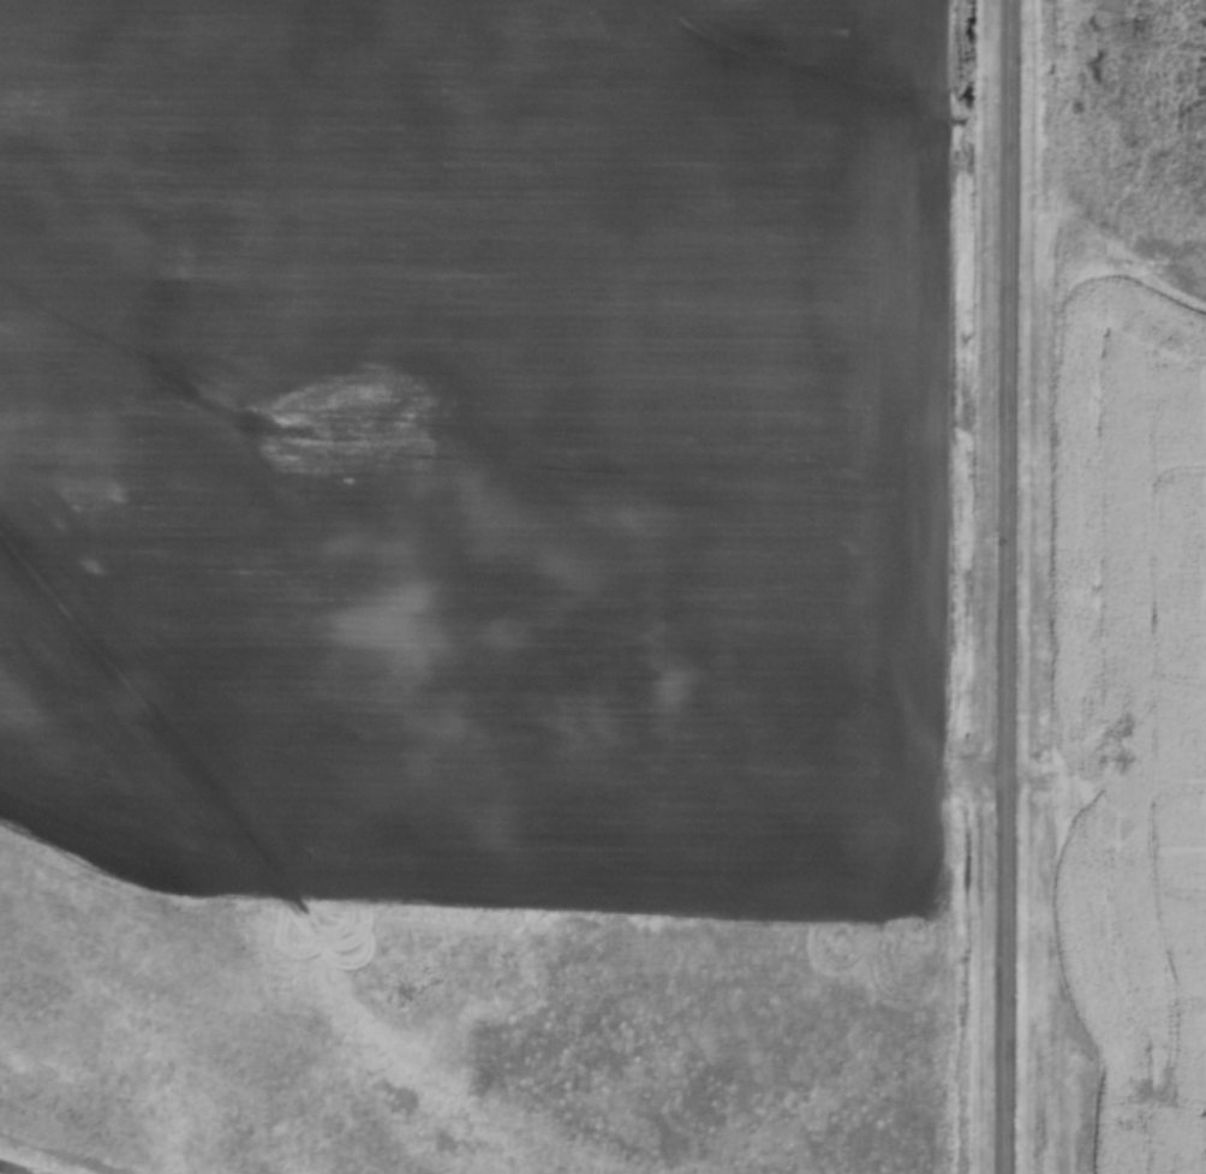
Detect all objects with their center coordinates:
road: (1004, 586)
river: (132, 1067)

